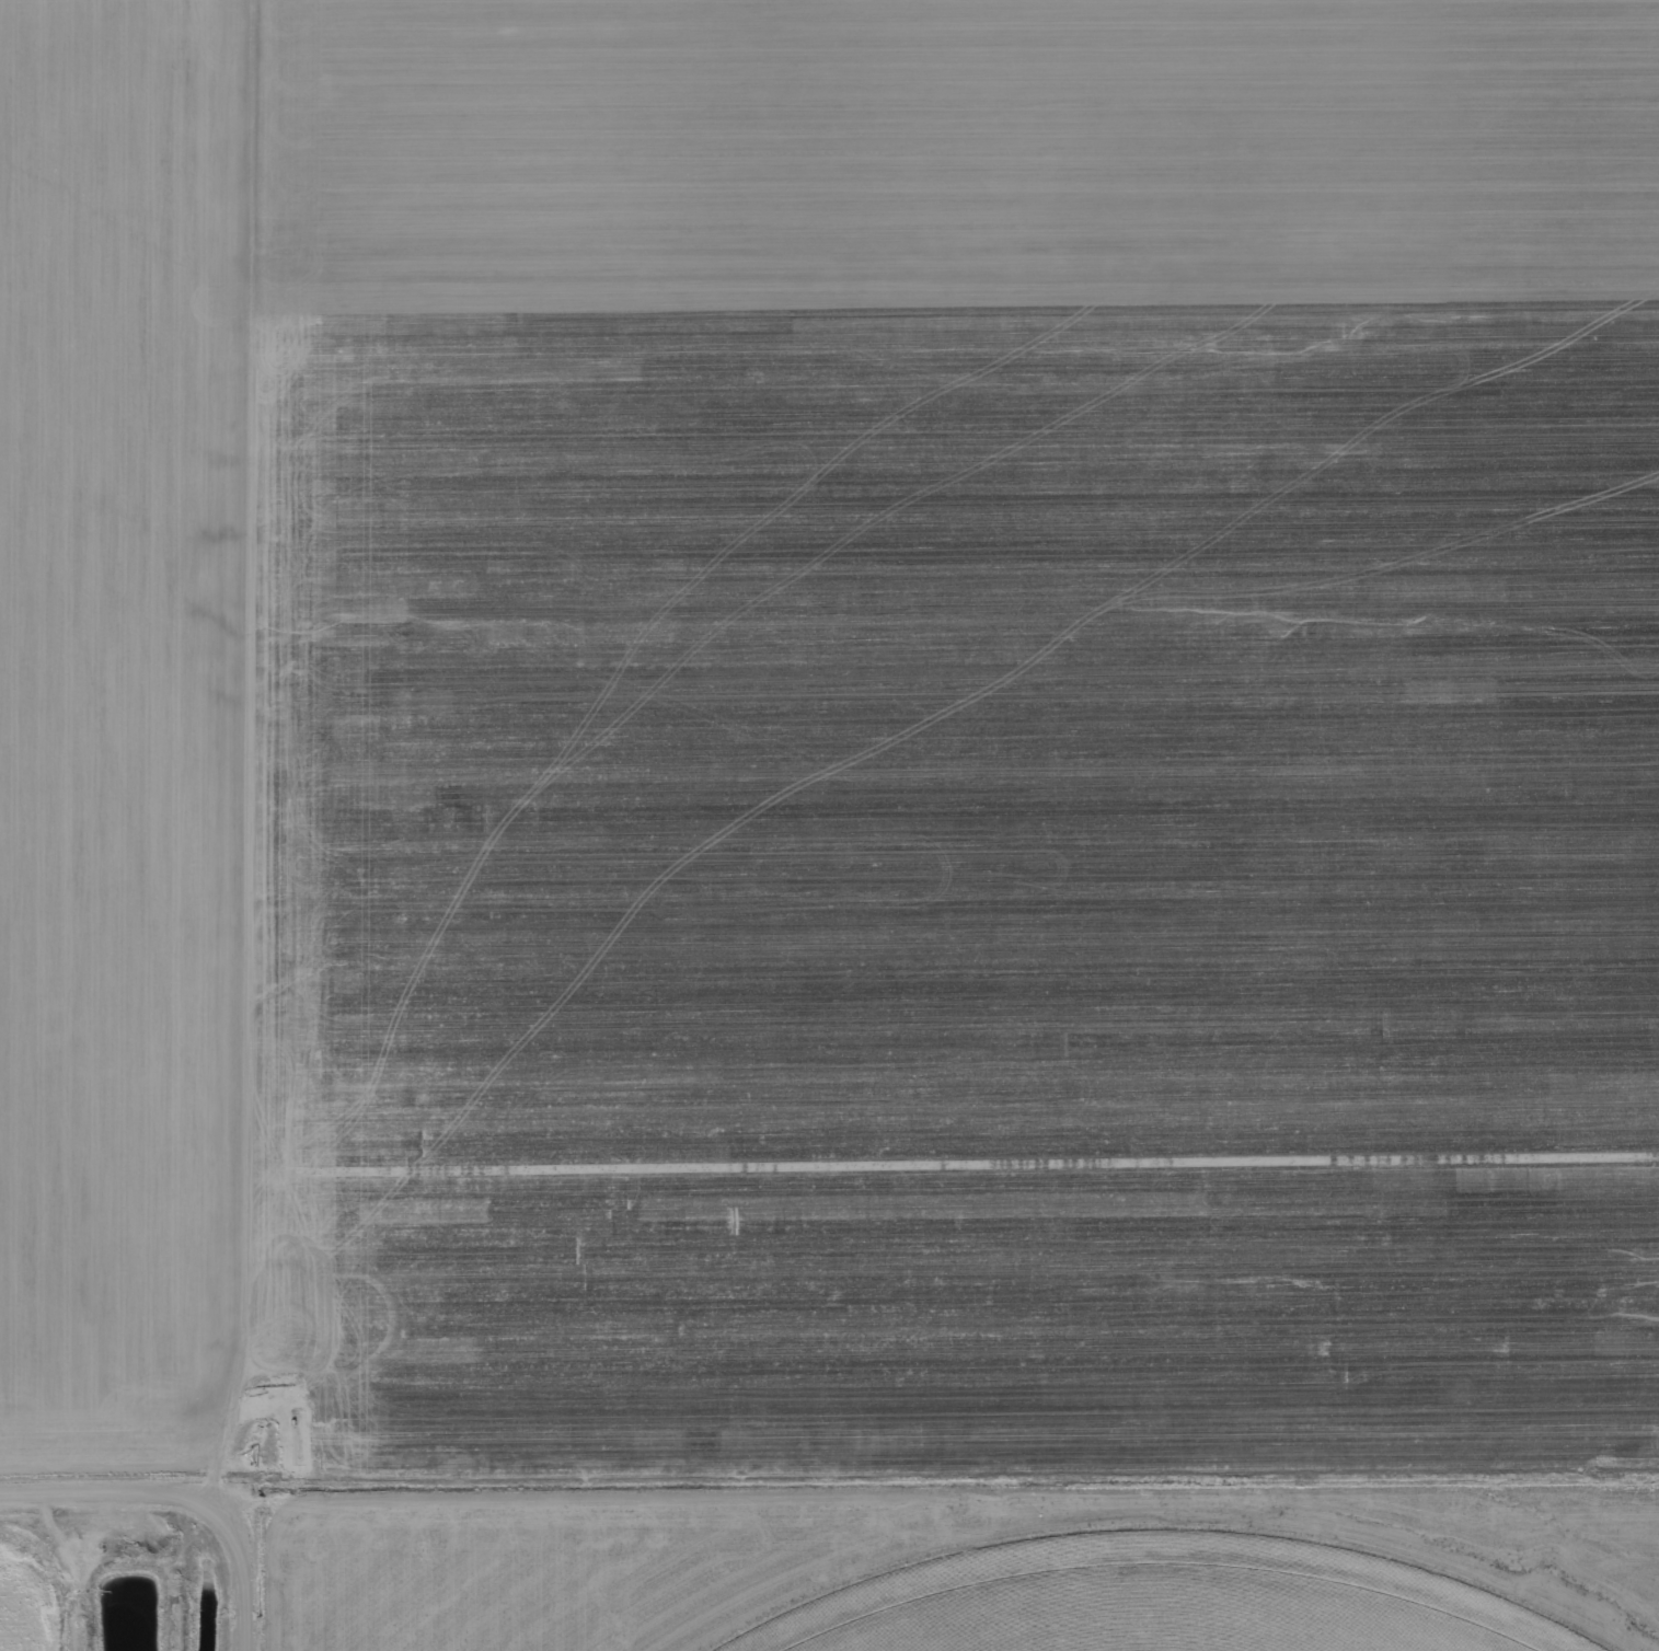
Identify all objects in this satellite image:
road: (103, 1490)
road: (243, 1572)

